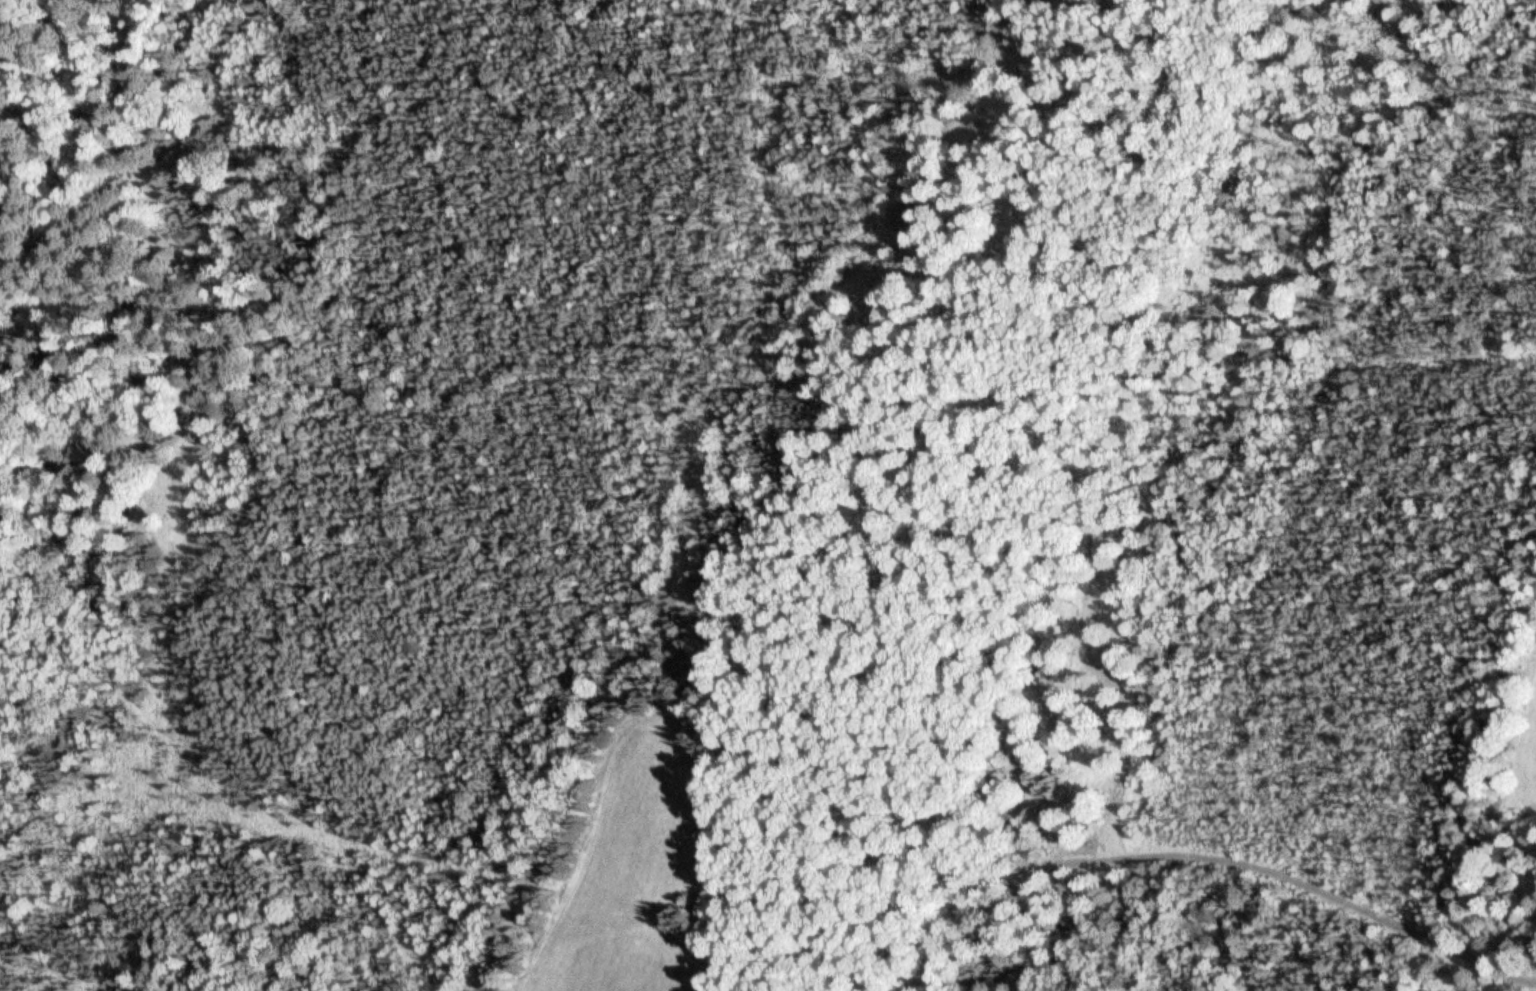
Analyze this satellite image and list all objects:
road: (1209, 857)

